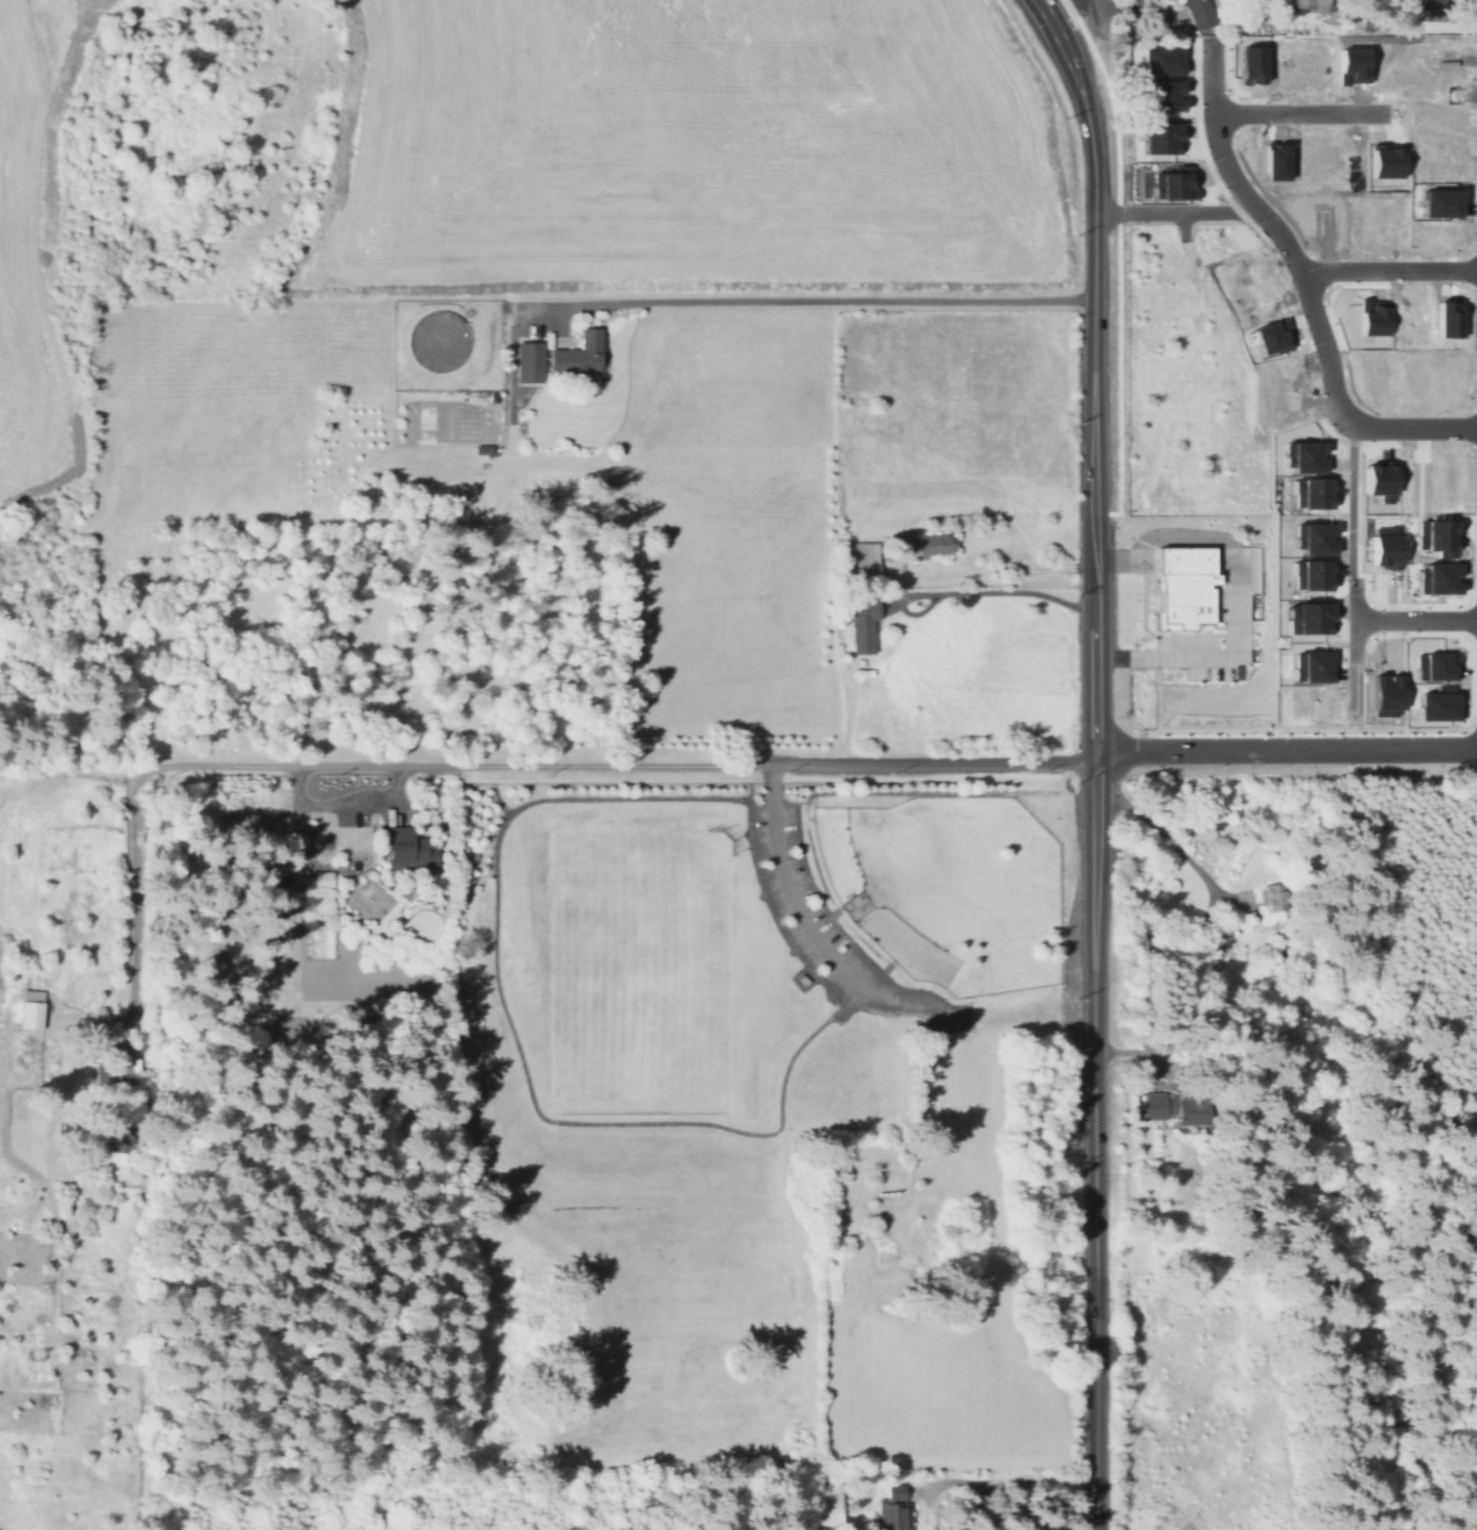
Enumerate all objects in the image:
building: (1310, 5)
building: (1423, 5)
road: (1038, 6)
road: (1043, 6)
road: (1058, 6)
road: (1093, 12)
building: (1200, 13)
road: (1054, 29)
building: (1438, 50)
building: (1161, 59)
building: (1387, 60)
building: (1253, 61)
building: (1282, 62)
building: (1319, 63)
building: (1353, 63)
building: (1437, 88)
building: (1165, 91)
road: (1298, 112)
road: (1229, 113)
road: (1089, 127)
building: (1437, 127)
building: (1161, 136)
crop: (689, 145)
building: (1277, 159)
building: (1308, 159)
building: (1345, 160)
building: (1386, 160)
building: (1437, 160)
road: (1251, 179)
building: (1172, 182)
building: (1437, 201)
road: (1173, 211)
building: (1326, 219)
building: (1357, 221)
building: (1389, 221)
building: (1437, 231)
road: (1116, 262)
building: (1245, 267)
road: (1470, 269)
road: (1388, 270)
road: (1315, 272)
road: (1304, 284)
building: (1258, 298)
crop: (25, 302)
road: (802, 305)
building: (1414, 315)
building: (1372, 317)
building: (1447, 318)
building: (1268, 333)
building: (436, 344)
building: (580, 354)
building: (532, 362)
road: (1095, 362)
building: (1281, 366)
building: (1376, 371)
building: (1412, 374)
building: (1448, 374)
road: (1469, 377)
crop: (966, 406)
building: (1282, 406)
road: (1470, 410)
road: (1318, 421)
road: (1470, 426)
road: (1470, 443)
building: (1301, 452)
building: (1379, 475)
building: (1451, 476)
building: (1415, 478)
building: (1310, 490)
road: (1350, 502)
building: (1312, 532)
building: (1433, 537)
building: (936, 546)
building: (1386, 548)
road: (1147, 555)
road: (1183, 555)
road: (1223, 555)
building: (860, 563)
road: (1141, 566)
road: (1183, 567)
road: (1223, 568)
building: (1309, 571)
building: (1435, 577)
building: (1183, 586)
road: (1019, 591)
road: (1235, 594)
building: (1310, 613)
road: (1353, 618)
road: (1470, 619)
road: (1415, 620)
building: (867, 629)
road: (1095, 633)
road: (1158, 633)
parking lot: (1209, 638)
road: (1163, 645)
building: (1312, 662)
building: (1434, 665)
building: (1237, 672)
road: (1350, 683)
crop: (972, 686)
building: (1386, 692)
building: (1314, 699)
building: (1435, 704)
road: (1471, 729)
road: (1408, 730)
road: (1286, 747)
road: (469, 766)
road: (1096, 776)
road: (351, 806)
road: (1167, 839)
building: (402, 852)
building: (276, 878)
building: (319, 881)
building: (1272, 897)
parking lot: (806, 904)
road: (804, 915)
road: (774, 917)
building: (1214, 938)
building: (1281, 953)
park: (641, 968)
building: (33, 1014)
road: (513, 1035)
building: (102, 1080)
road: (911, 1105)
building: (1177, 1107)
park: (769, 1119)
building: (115, 1139)
road: (1094, 1163)
building: (883, 1219)
building: (829, 1232)
building: (930, 1249)
crop: (65, 1378)
building: (890, 1497)
road: (917, 1523)

